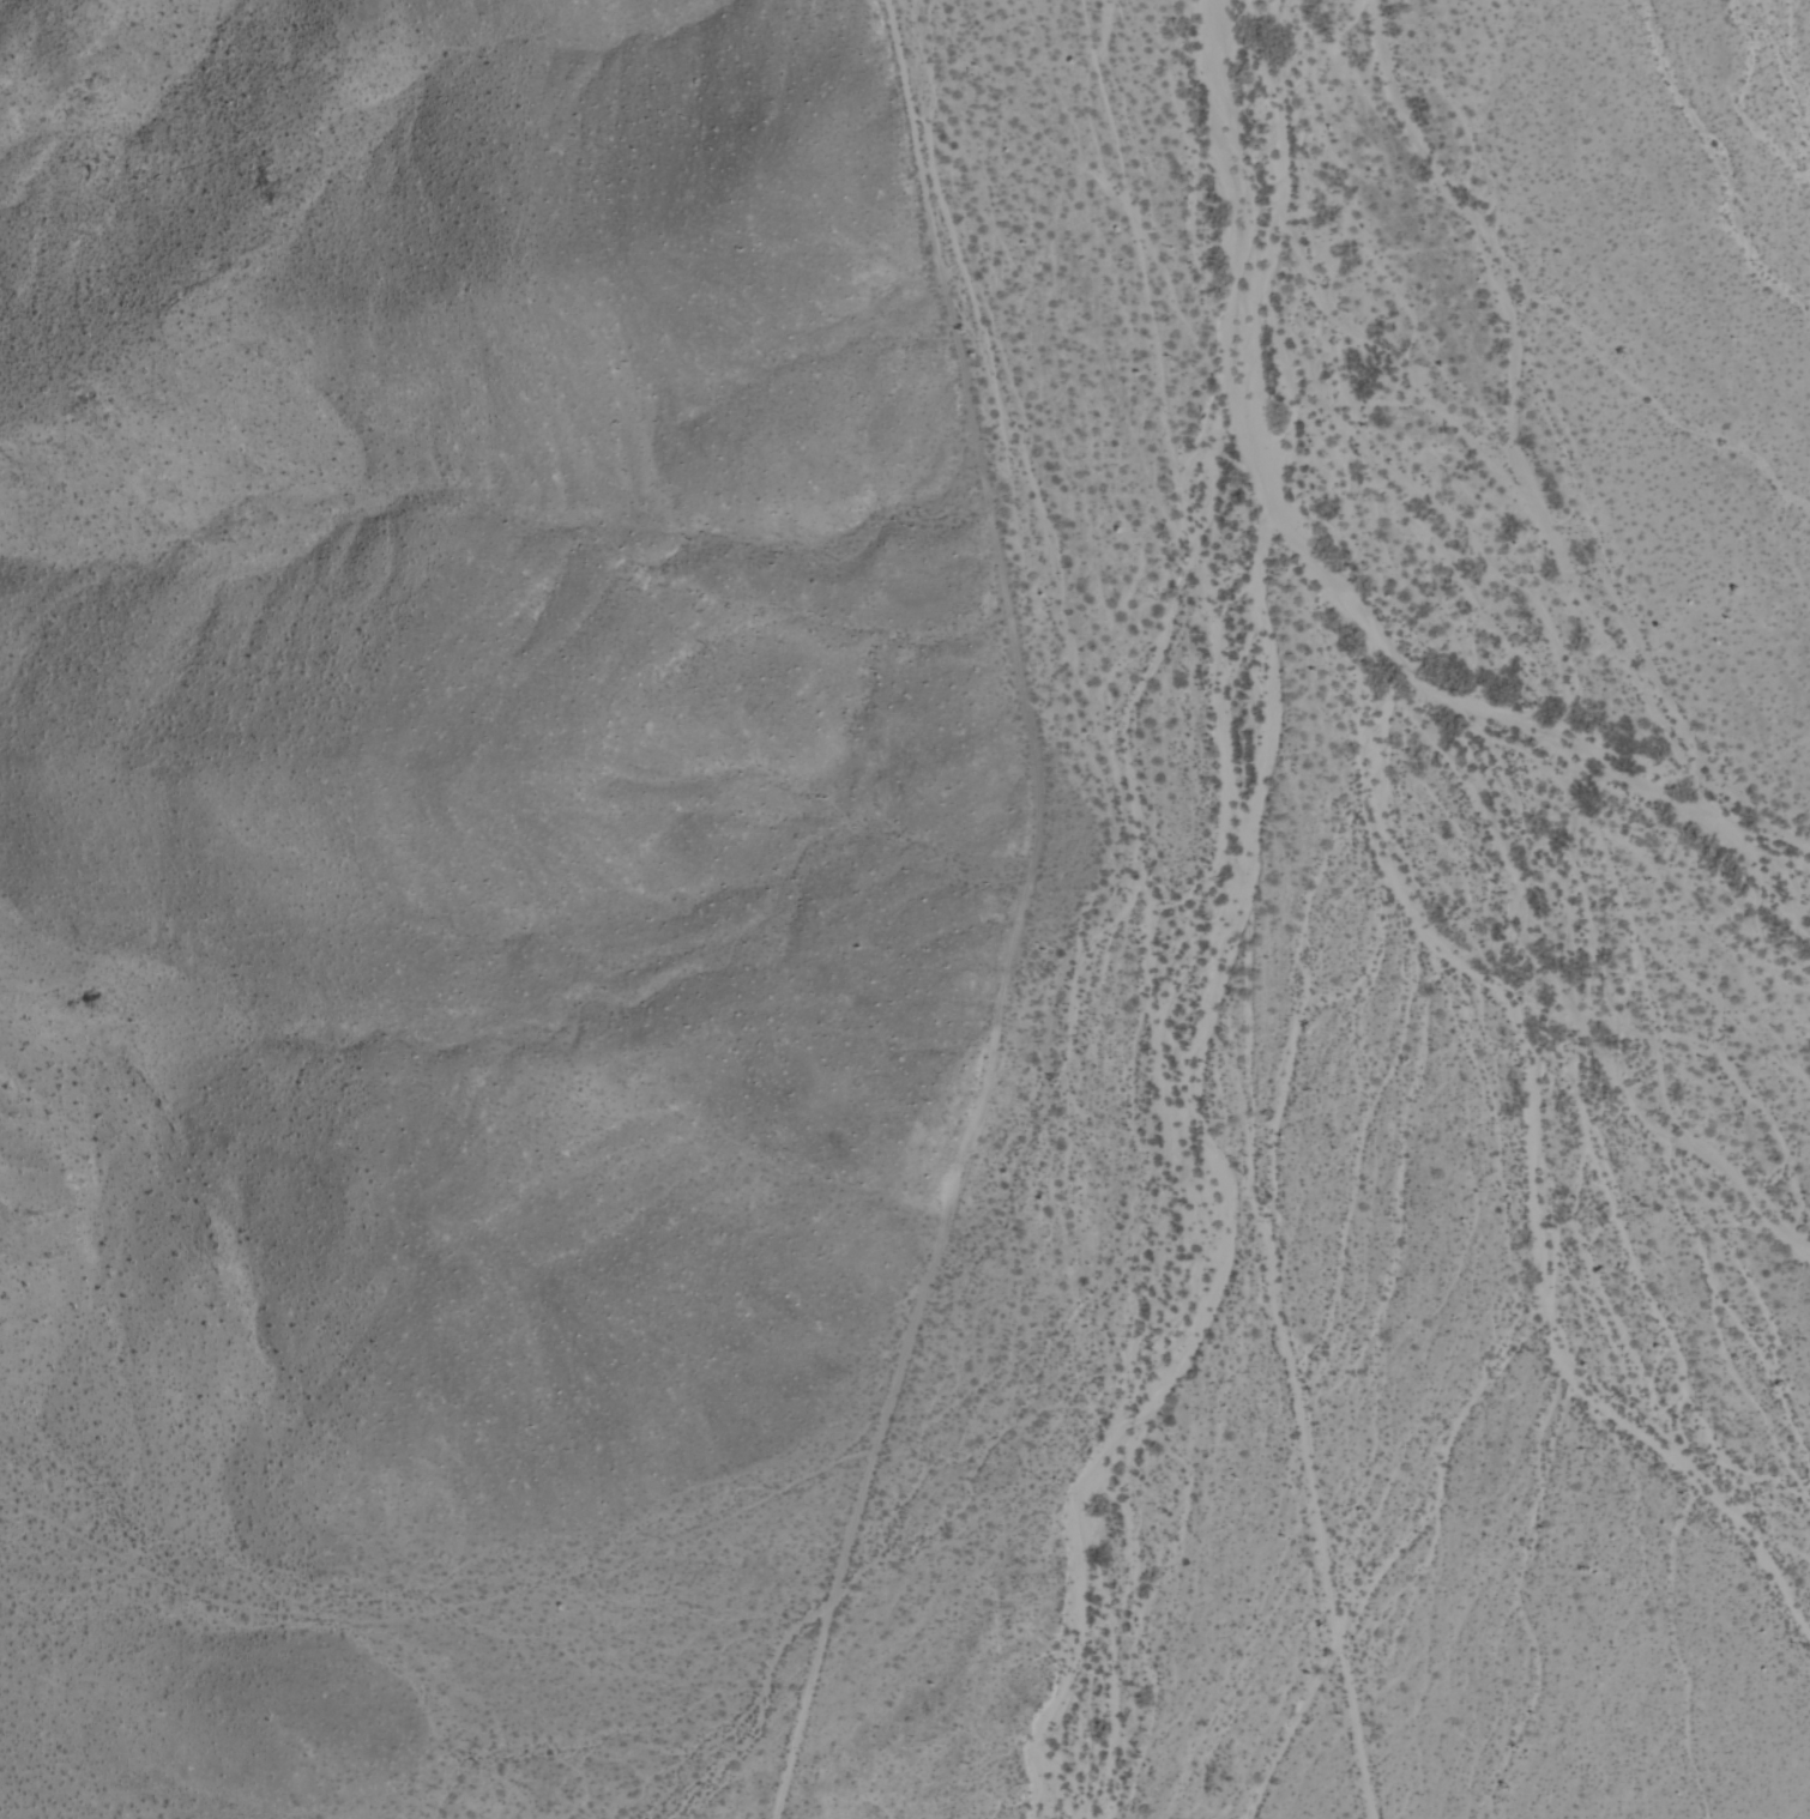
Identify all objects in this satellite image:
road: (1022, 919)

